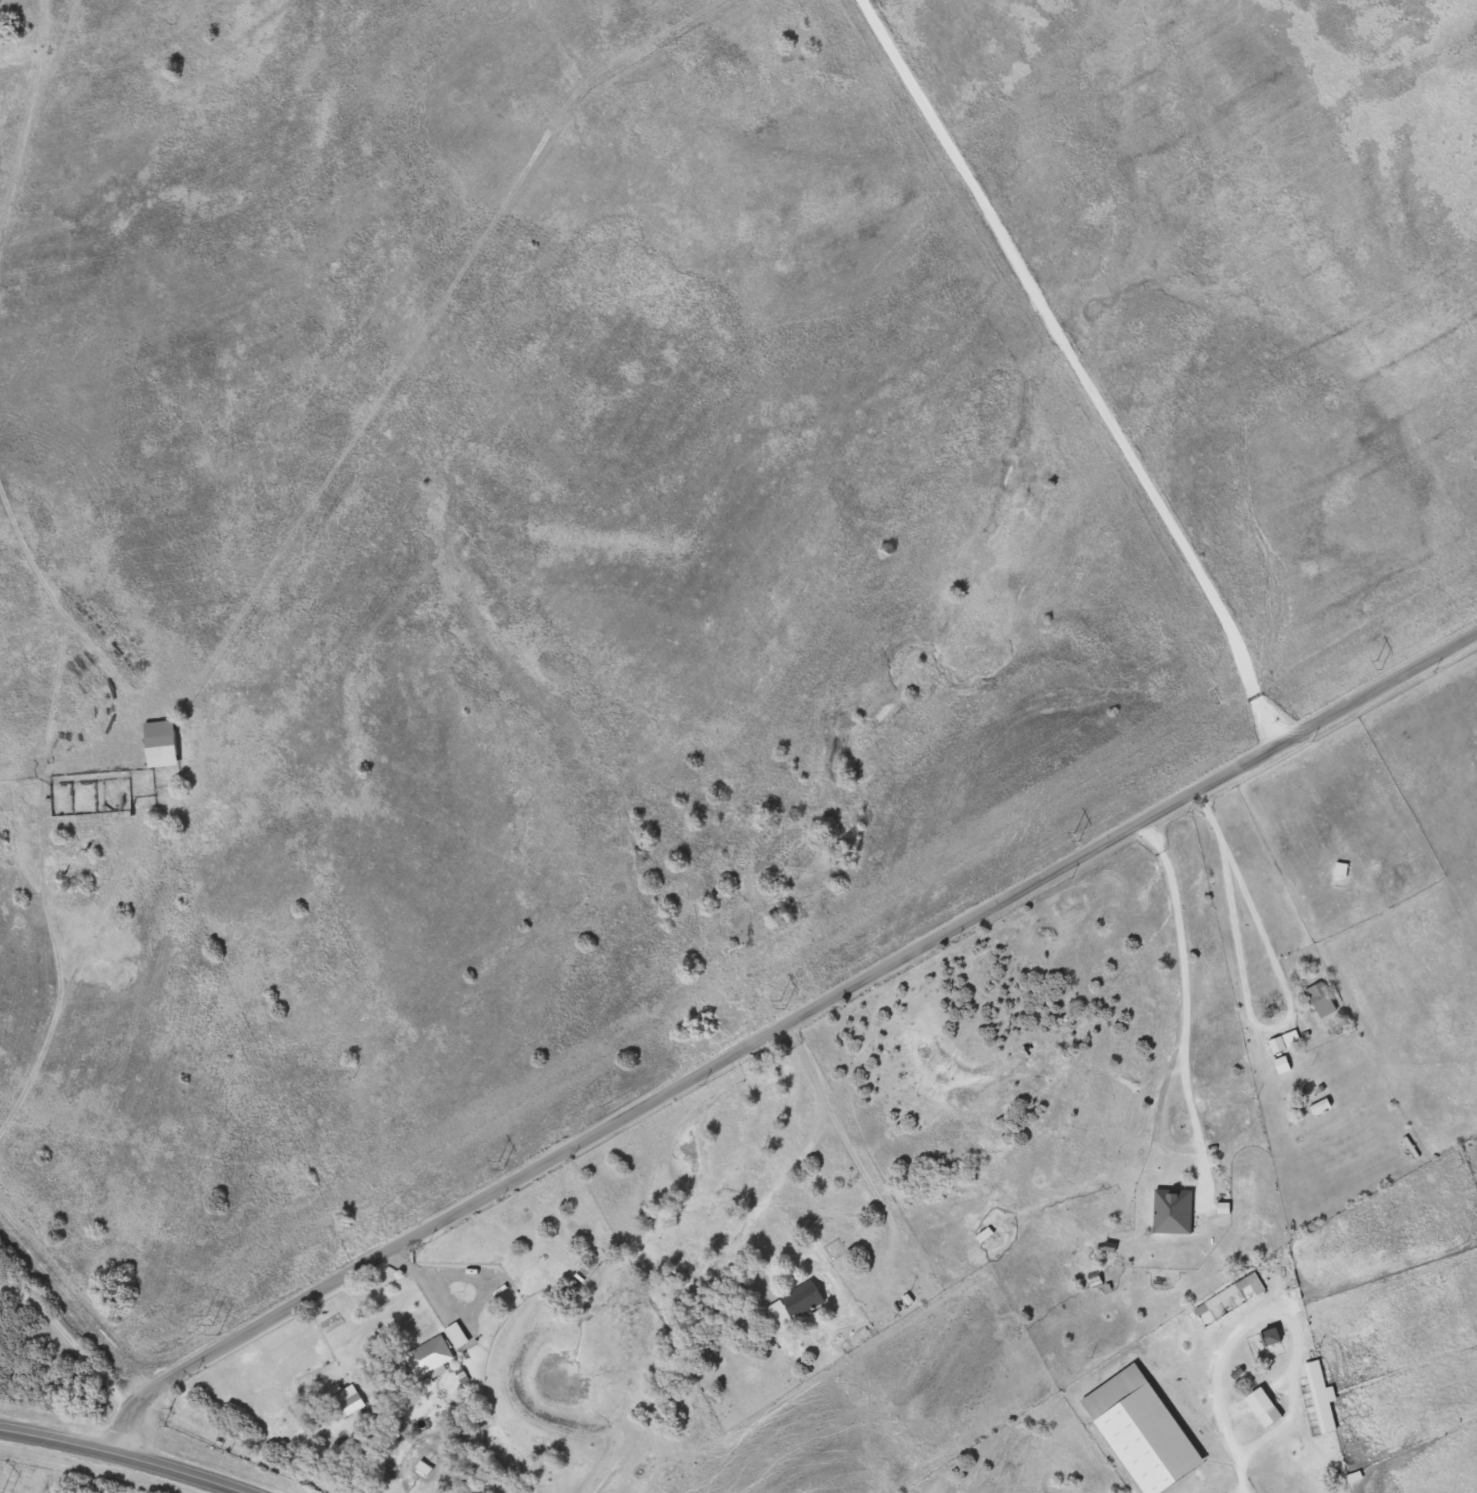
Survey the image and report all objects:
road: (1075, 363)
building: (157, 744)
building: (1339, 869)
road: (37, 883)
road: (66, 977)
road: (1282, 996)
building: (1318, 1001)
road: (778, 1026)
road: (1186, 1033)
building: (1281, 1048)
road: (809, 1147)
building: (827, 1253)
road: (412, 1276)
building: (1233, 1297)
building: (791, 1305)
road: (67, 1319)
building: (454, 1336)
building: (1269, 1338)
road: (73, 1348)
building: (426, 1358)
road: (1288, 1367)
building: (1318, 1398)
building: (345, 1401)
building: (1256, 1403)
road: (1216, 1407)
road: (111, 1457)

